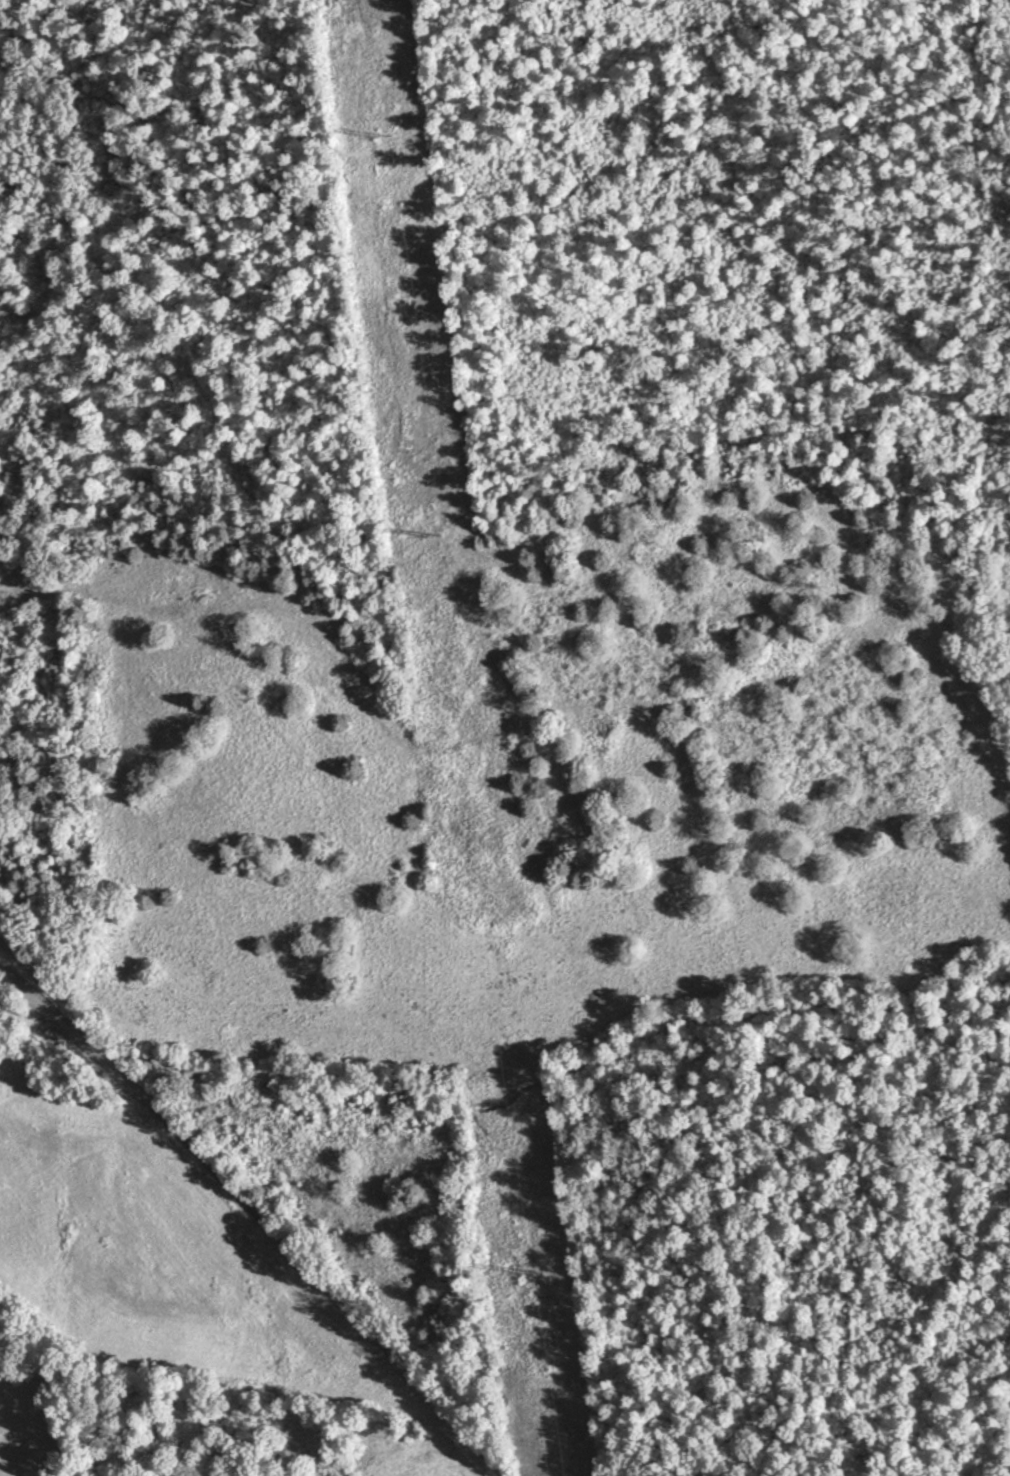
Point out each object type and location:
power tower: (382, 133)
power tower: (433, 533)
road: (254, 1214)
power tower: (528, 1273)

